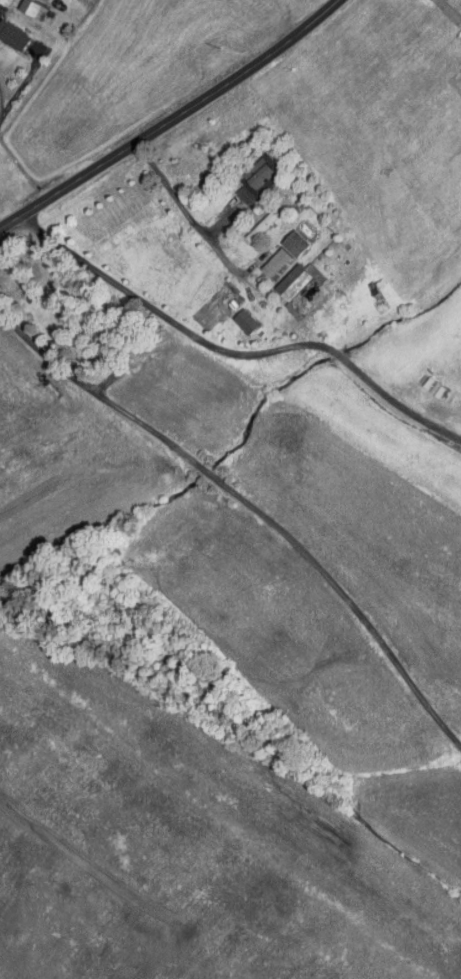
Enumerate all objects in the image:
building: (7, 2)
building: (35, 8)
building: (14, 34)
road: (170, 118)
building: (263, 171)
building: (245, 192)
road: (191, 219)
building: (297, 243)
building: (278, 262)
building: (299, 280)
building: (248, 321)
road: (235, 353)
road: (240, 507)

